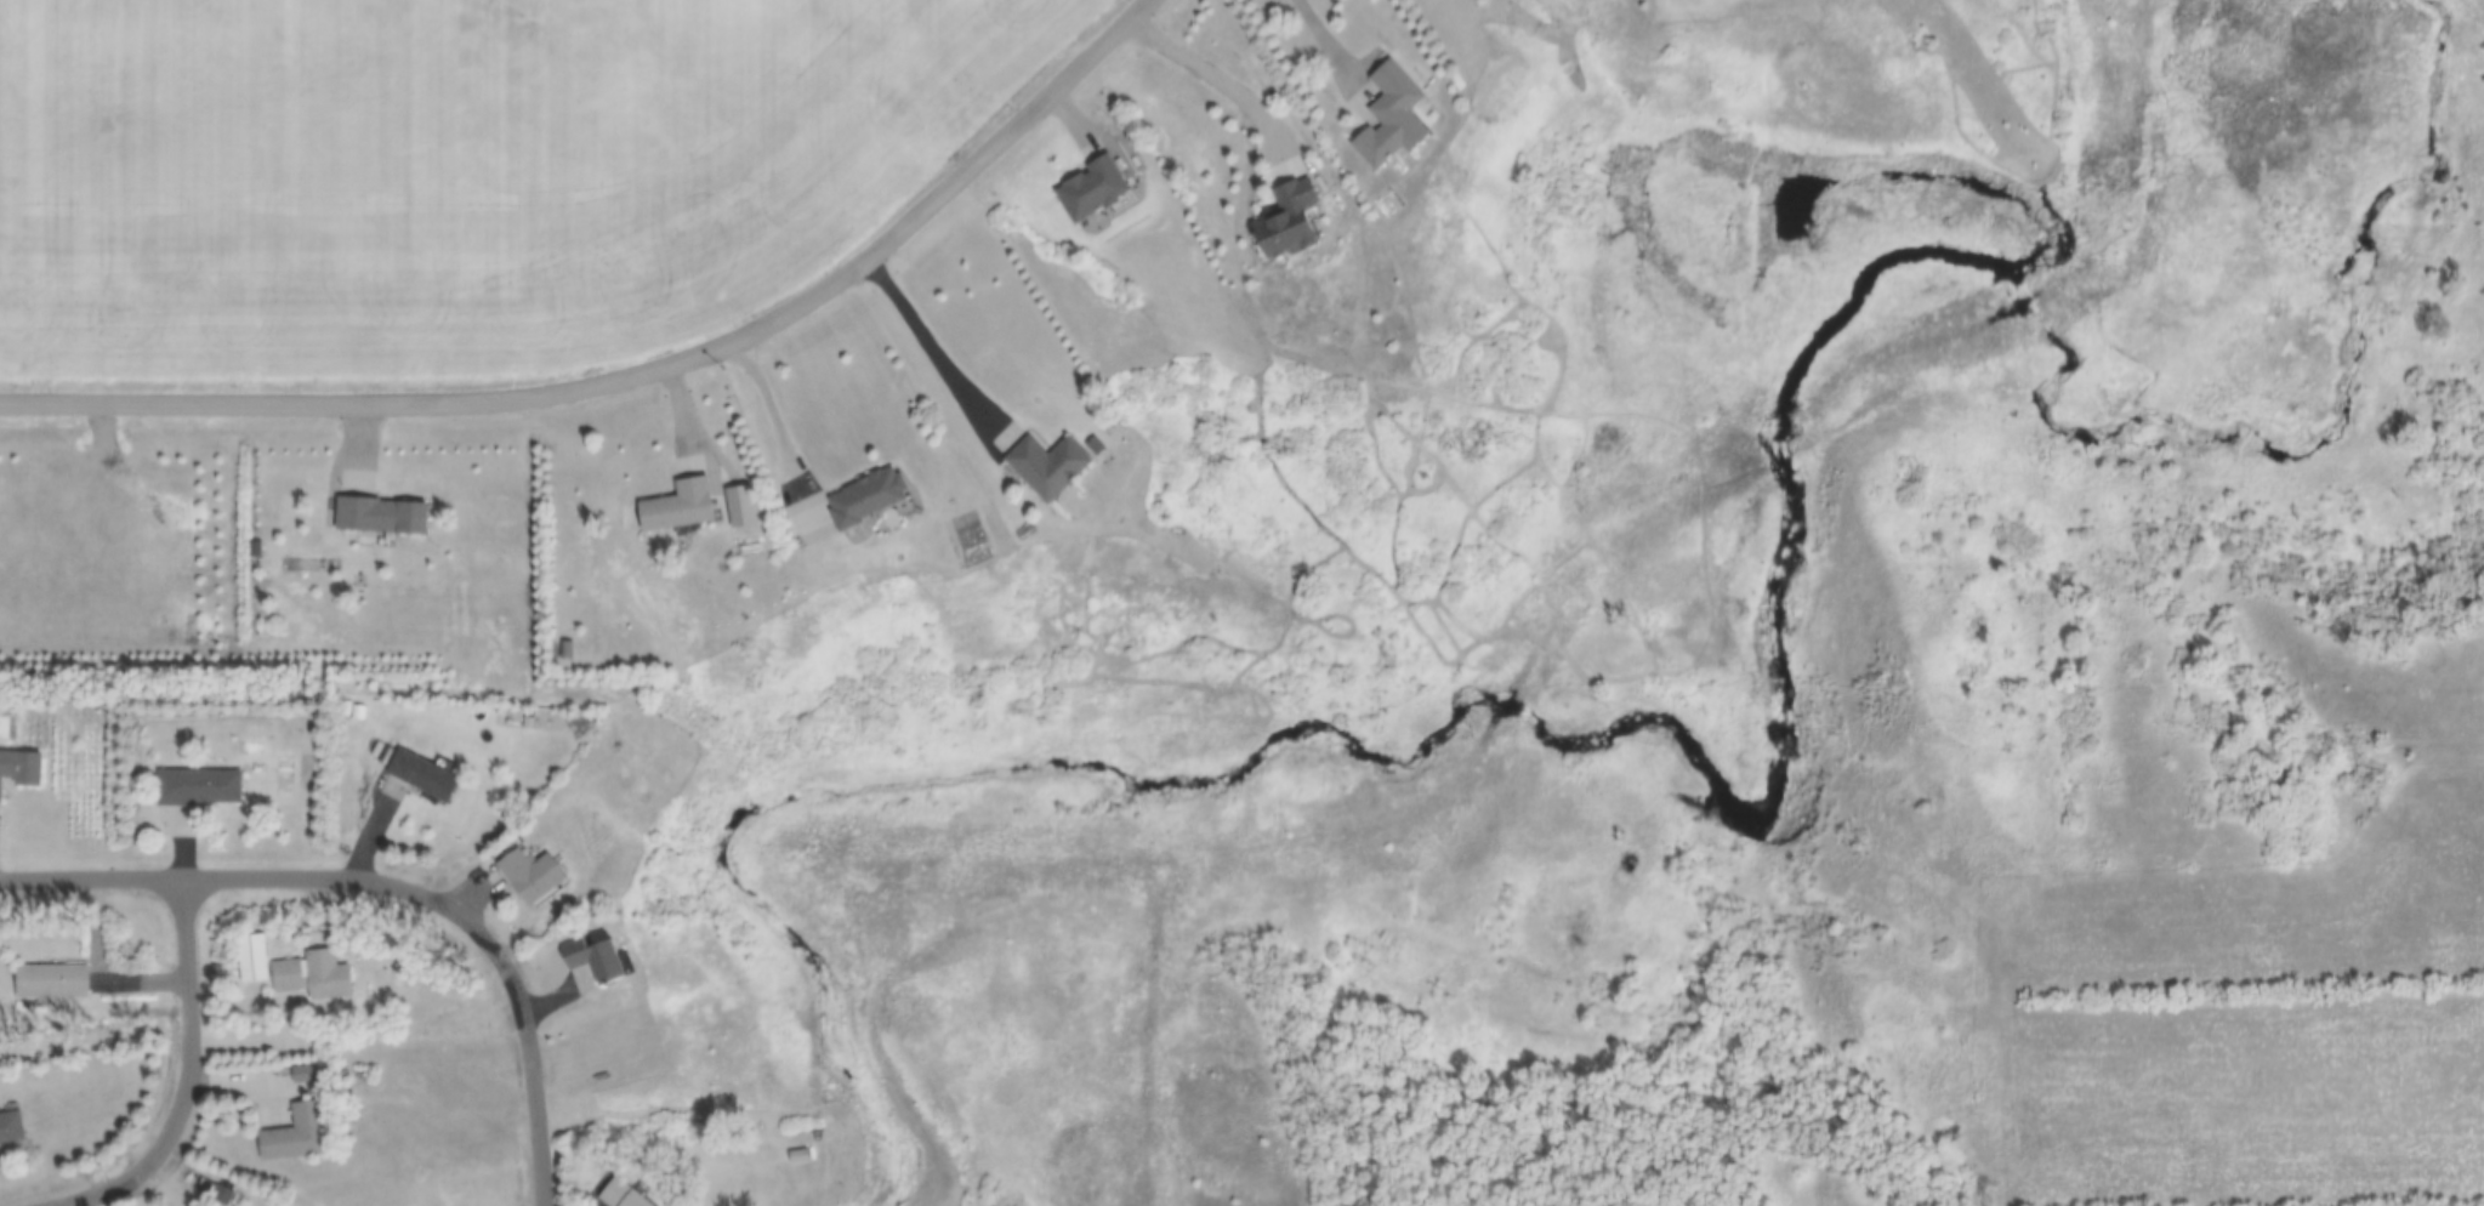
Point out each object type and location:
road: (1317, 39)
road: (1232, 67)
building: (1380, 115)
building: (1090, 188)
building: (1285, 220)
road: (939, 348)
road: (636, 376)
road: (745, 402)
building: (1039, 463)
building: (841, 505)
building: (672, 507)
building: (376, 516)
building: (557, 650)
building: (19, 768)
building: (414, 775)
building: (199, 787)
river: (1785, 801)
building: (512, 875)
road: (336, 878)
building: (573, 958)
building: (289, 972)
building: (49, 983)
road: (188, 1028)
building: (10, 1127)
building: (290, 1133)
road: (546, 1144)
building: (792, 1157)
road: (95, 1190)
building: (609, 1195)

